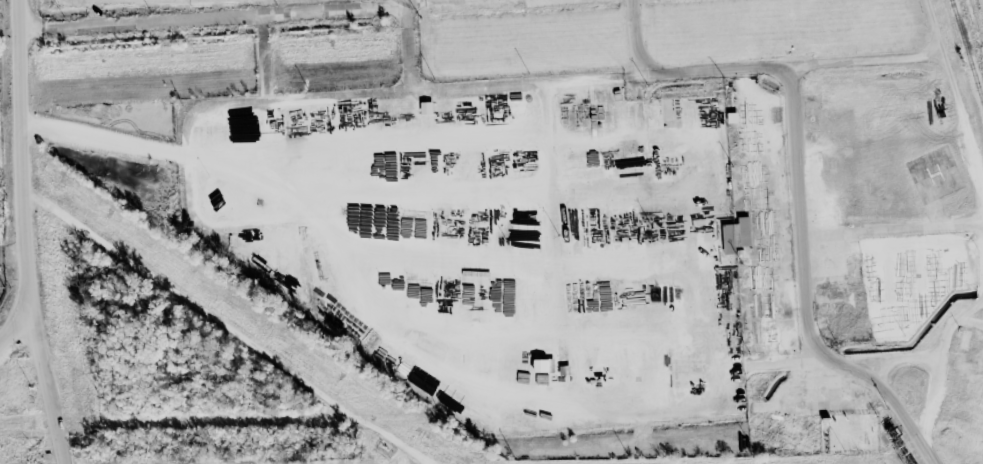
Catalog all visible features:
road: (93, 13)
road: (265, 18)
railway: (966, 51)
road: (953, 91)
road: (333, 97)
road: (415, 102)
road: (646, 102)
road: (107, 139)
road: (272, 167)
building: (191, 197)
road: (800, 215)
road: (892, 230)
road: (23, 234)
building: (736, 235)
road: (12, 256)
road: (18, 322)
road: (412, 341)
road: (565, 347)
road: (863, 360)
road: (941, 401)
road: (895, 410)

